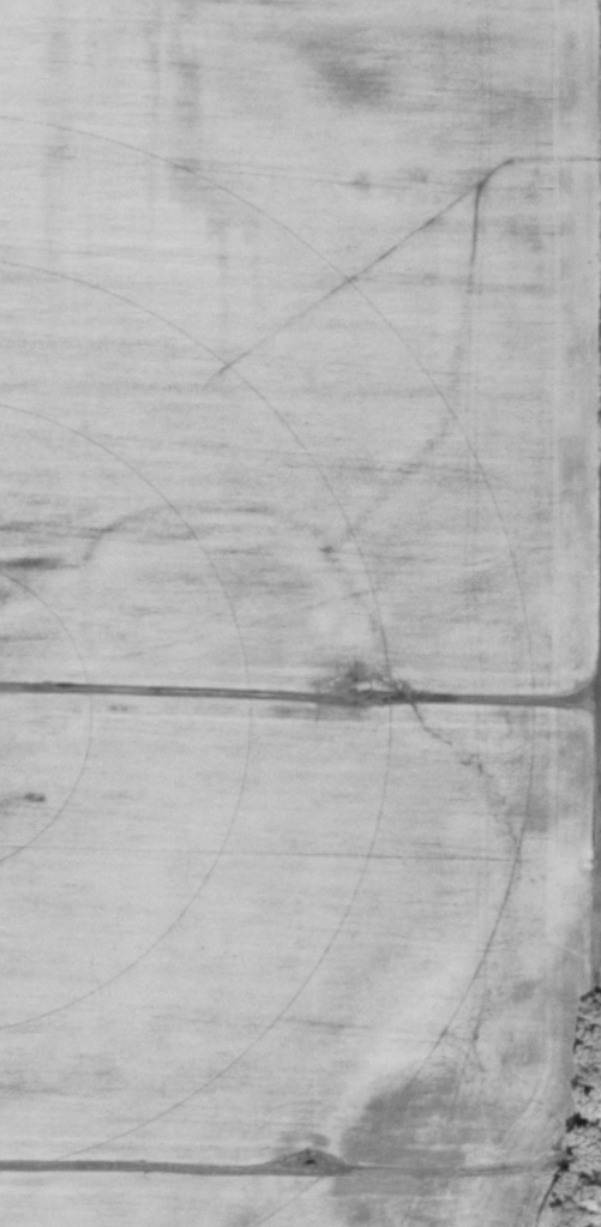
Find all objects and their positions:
petroleum well: (360, 685)
road: (485, 700)
road: (166, 1167)
road: (467, 1168)

